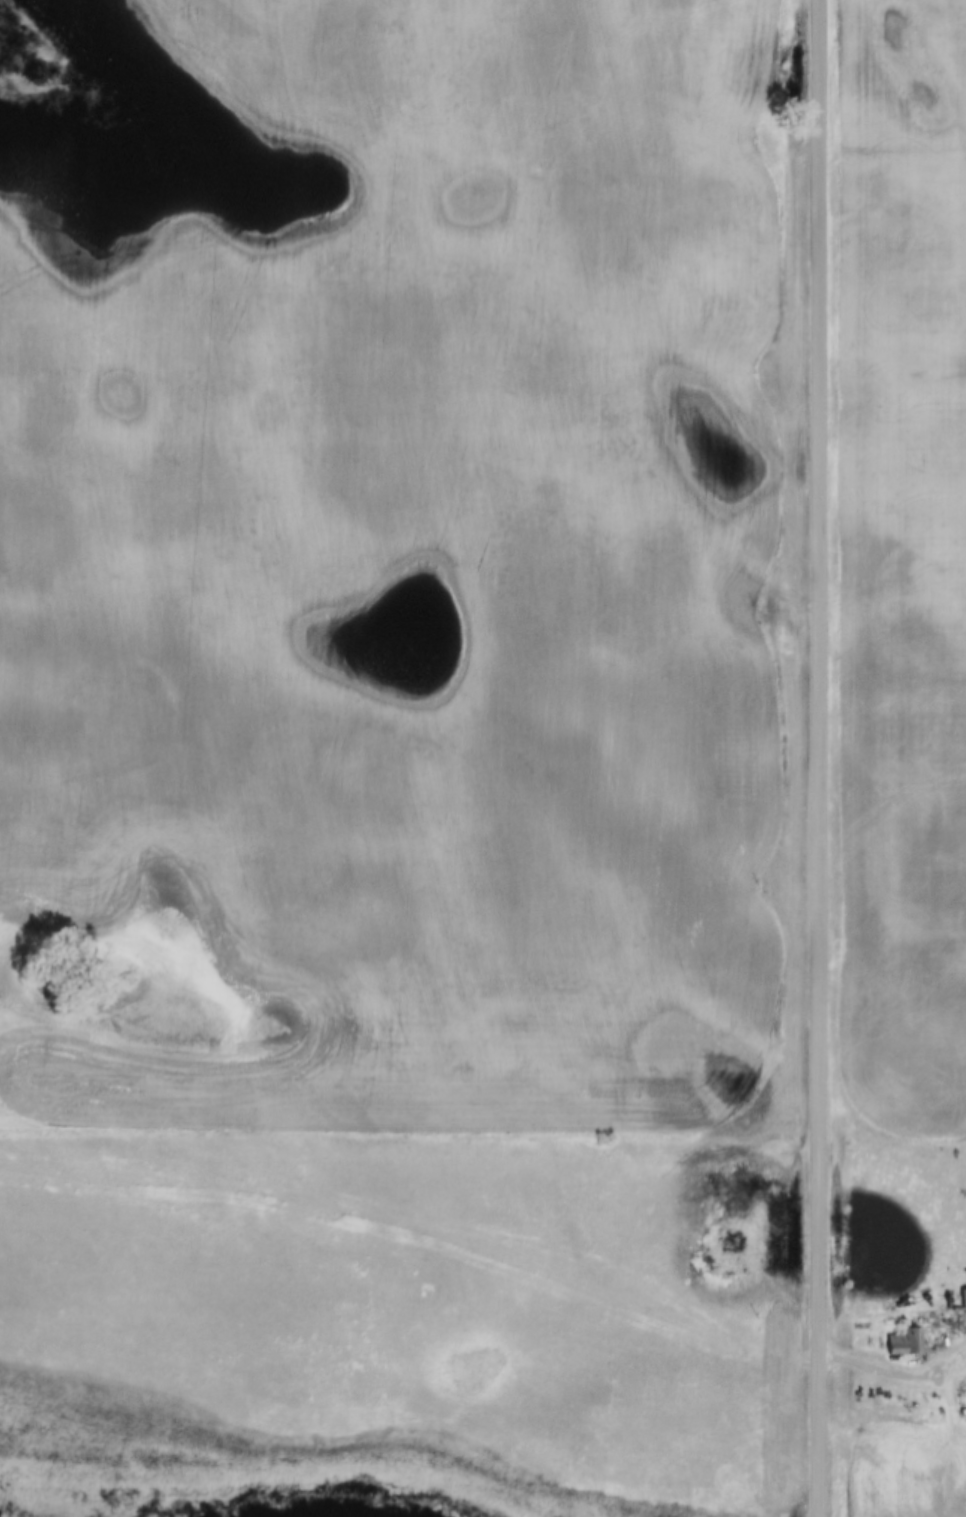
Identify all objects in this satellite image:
road: (818, 758)
building: (902, 1342)
road: (895, 1375)

